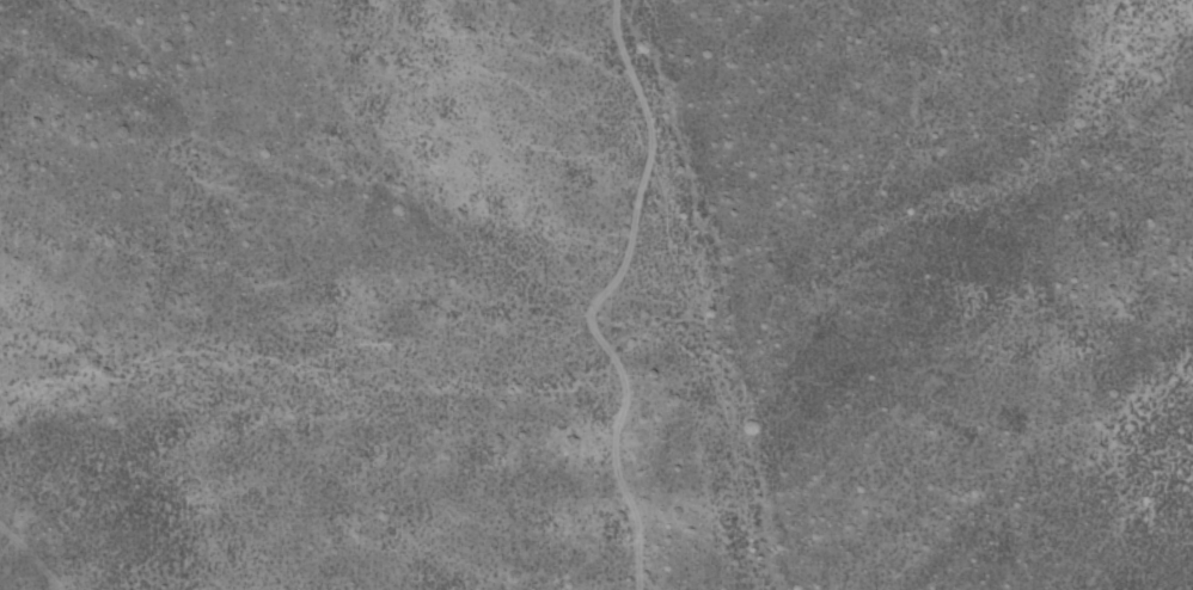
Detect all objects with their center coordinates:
road: (617, 296)
road: (36, 557)

